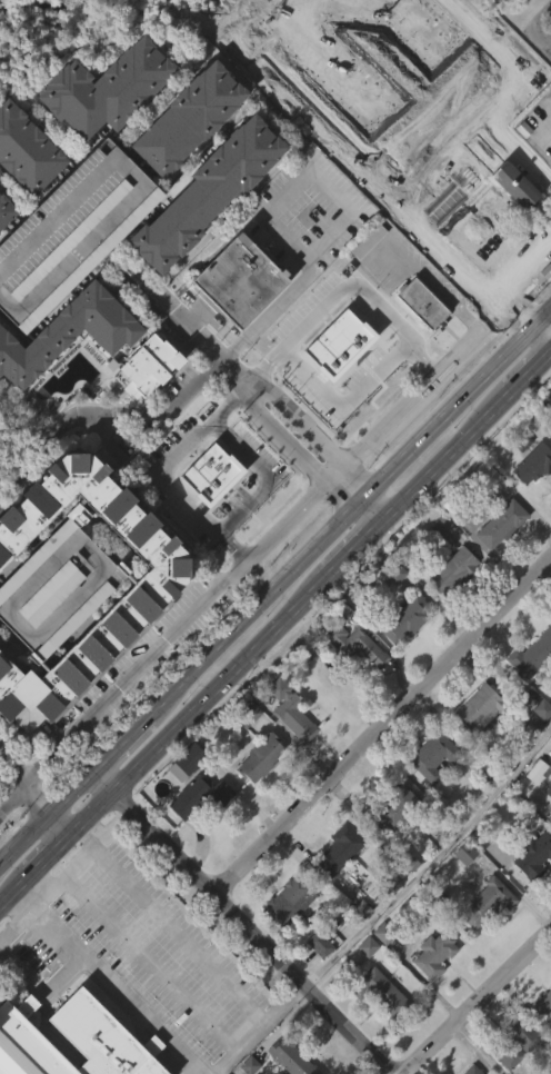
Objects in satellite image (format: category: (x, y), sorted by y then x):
building: (78, 1)
building: (16, 6)
road: (244, 13)
road: (531, 27)
building: (502, 67)
building: (106, 87)
road: (491, 99)
building: (501, 105)
road: (304, 106)
building: (189, 117)
building: (103, 127)
road: (535, 132)
road: (515, 143)
building: (30, 148)
building: (184, 157)
building: (462, 183)
building: (208, 191)
building: (550, 197)
building: (6, 209)
building: (457, 223)
building: (206, 229)
building: (70, 230)
road: (323, 238)
road: (283, 241)
road: (194, 243)
road: (438, 248)
road: (355, 265)
building: (240, 279)
building: (423, 302)
road: (524, 312)
building: (236, 318)
road: (186, 325)
road: (544, 329)
building: (357, 332)
building: (69, 334)
building: (419, 340)
building: (298, 341)
building: (146, 366)
building: (67, 370)
building: (351, 370)
road: (377, 375)
road: (239, 377)
road: (460, 399)
building: (143, 404)
road: (104, 412)
road: (315, 436)
road: (294, 455)
building: (533, 464)
road: (161, 467)
road: (360, 499)
road: (379, 500)
building: (531, 500)
building: (482, 514)
road: (362, 518)
building: (502, 524)
road: (272, 534)
building: (498, 561)
building: (437, 564)
building: (453, 571)
building: (57, 587)
building: (151, 595)
building: (390, 608)
building: (449, 608)
road: (250, 610)
building: (404, 619)
road: (273, 626)
building: (354, 645)
building: (531, 656)
building: (402, 657)
building: (352, 680)
building: (530, 690)
building: (480, 709)
building: (291, 710)
building: (247, 713)
road: (383, 726)
road: (120, 743)
building: (539, 745)
building: (287, 747)
building: (477, 747)
building: (244, 752)
building: (260, 757)
building: (432, 757)
building: (190, 759)
building: (527, 760)
building: (483, 773)
road: (36, 792)
building: (430, 793)
building: (257, 795)
building: (201, 796)
building: (395, 807)
building: (532, 807)
road: (46, 818)
building: (547, 825)
building: (197, 832)
building: (391, 845)
building: (340, 847)
building: (534, 853)
road: (431, 858)
road: (68, 869)
building: (477, 876)
building: (337, 886)
building: (461, 889)
building: (531, 893)
building: (404, 895)
building: (289, 901)
building: (488, 901)
road: (17, 922)
road: (242, 922)
road: (178, 934)
building: (284, 937)
building: (485, 937)
building: (358, 946)
building: (435, 953)
road: (150, 961)
building: (315, 981)
road: (108, 982)
building: (380, 991)
building: (431, 991)
road: (42, 996)
road: (477, 1001)
building: (543, 1005)
building: (375, 1027)
road: (254, 1028)
building: (73, 1040)
building: (543, 1042)
building: (513, 1043)
building: (292, 1055)
building: (517, 1067)
building: (470, 1070)
building: (280, 1073)

